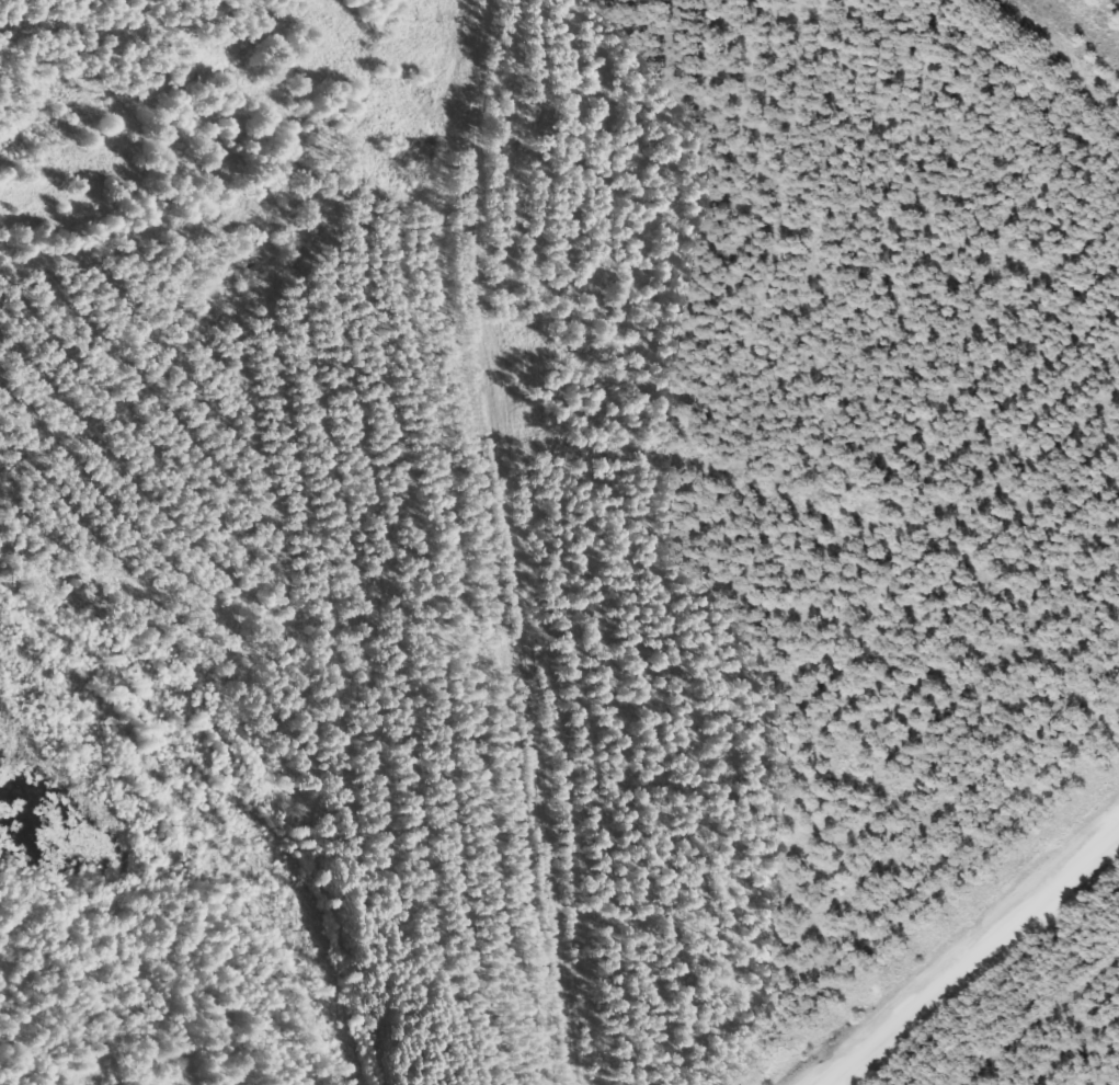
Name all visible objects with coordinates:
road: (971, 960)

